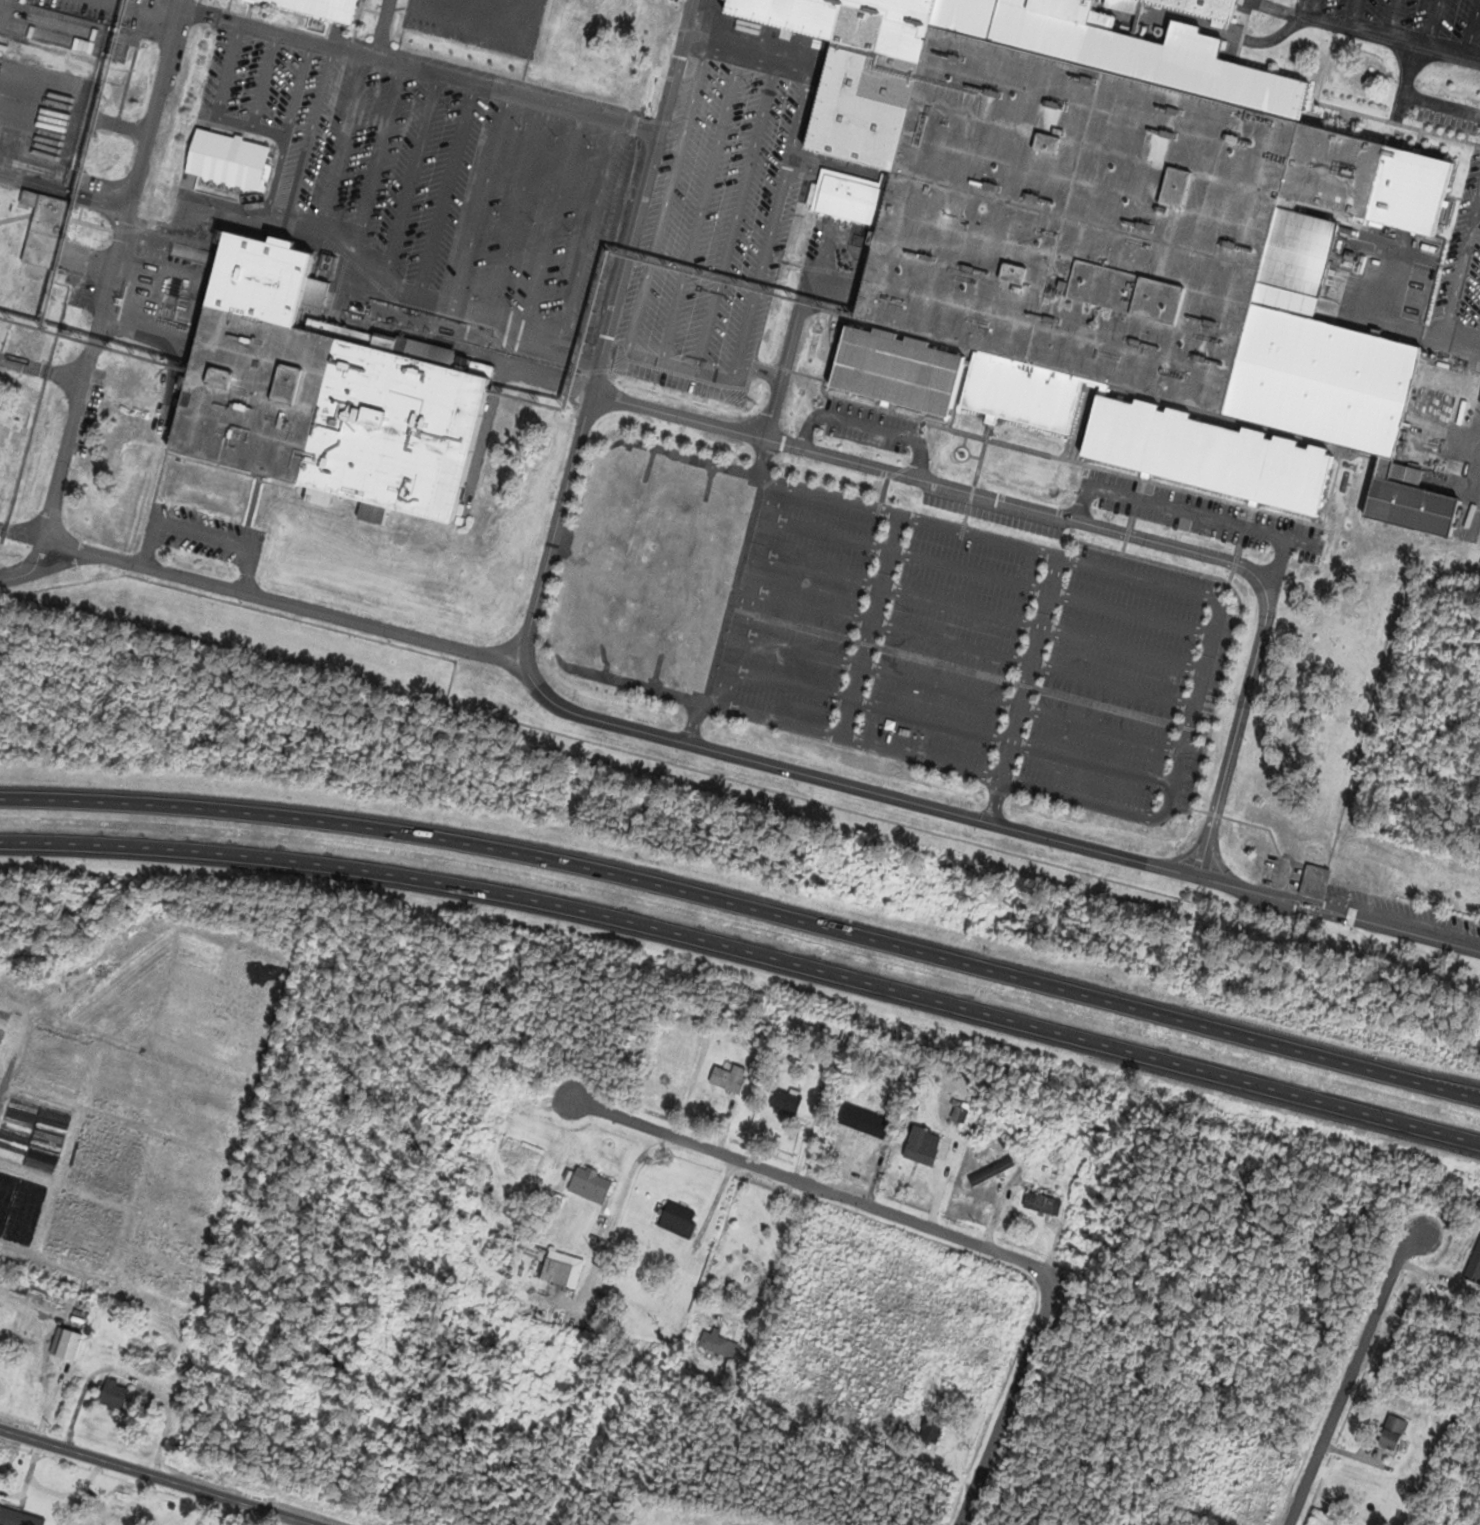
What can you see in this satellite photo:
building: (317, 7)
building: (1047, 143)
building: (227, 159)
building: (1175, 186)
building: (845, 196)
road: (640, 197)
building: (1123, 267)
road: (111, 268)
building: (1013, 272)
building: (896, 370)
building: (322, 392)
road: (1075, 520)
road: (66, 564)
road: (31, 567)
road: (261, 590)
building: (695, 640)
road: (715, 751)
building: (1314, 882)
road: (746, 906)
road: (1338, 913)
road: (747, 950)
building: (729, 1077)
building: (785, 1102)
building: (864, 1128)
building: (920, 1147)
building: (519, 1154)
building: (991, 1171)
building: (590, 1184)
building: (1042, 1204)
road: (618, 1207)
building: (677, 1220)
road: (937, 1231)
road: (778, 1256)
building: (554, 1271)
building: (13, 1332)
building: (66, 1345)
road: (1353, 1378)
building: (112, 1395)
building: (1392, 1433)
road: (167, 1475)
building: (46, 1496)
road: (228, 1512)
building: (107, 1522)

